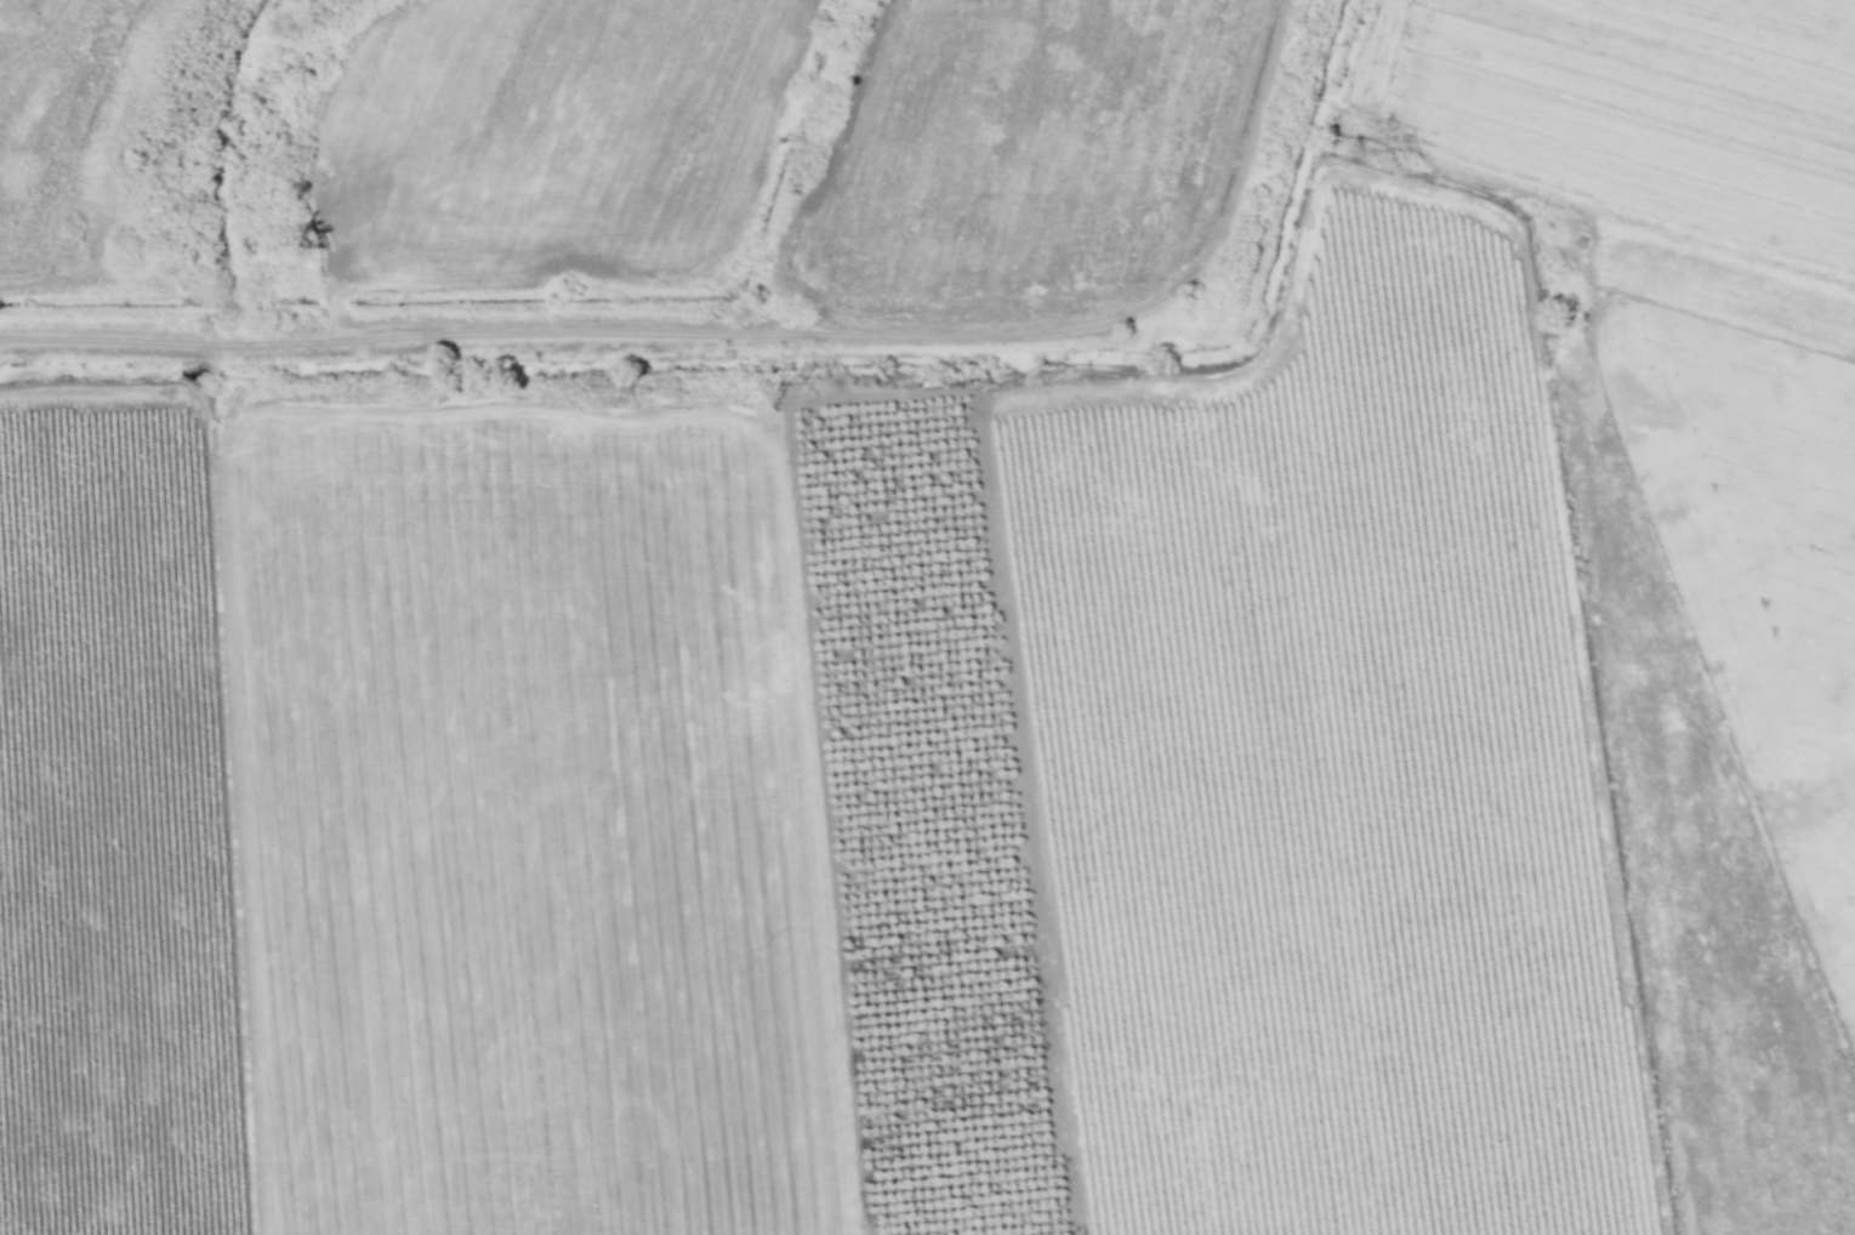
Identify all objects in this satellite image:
airport: (1726, 290)
airport runway: (1734, 294)

